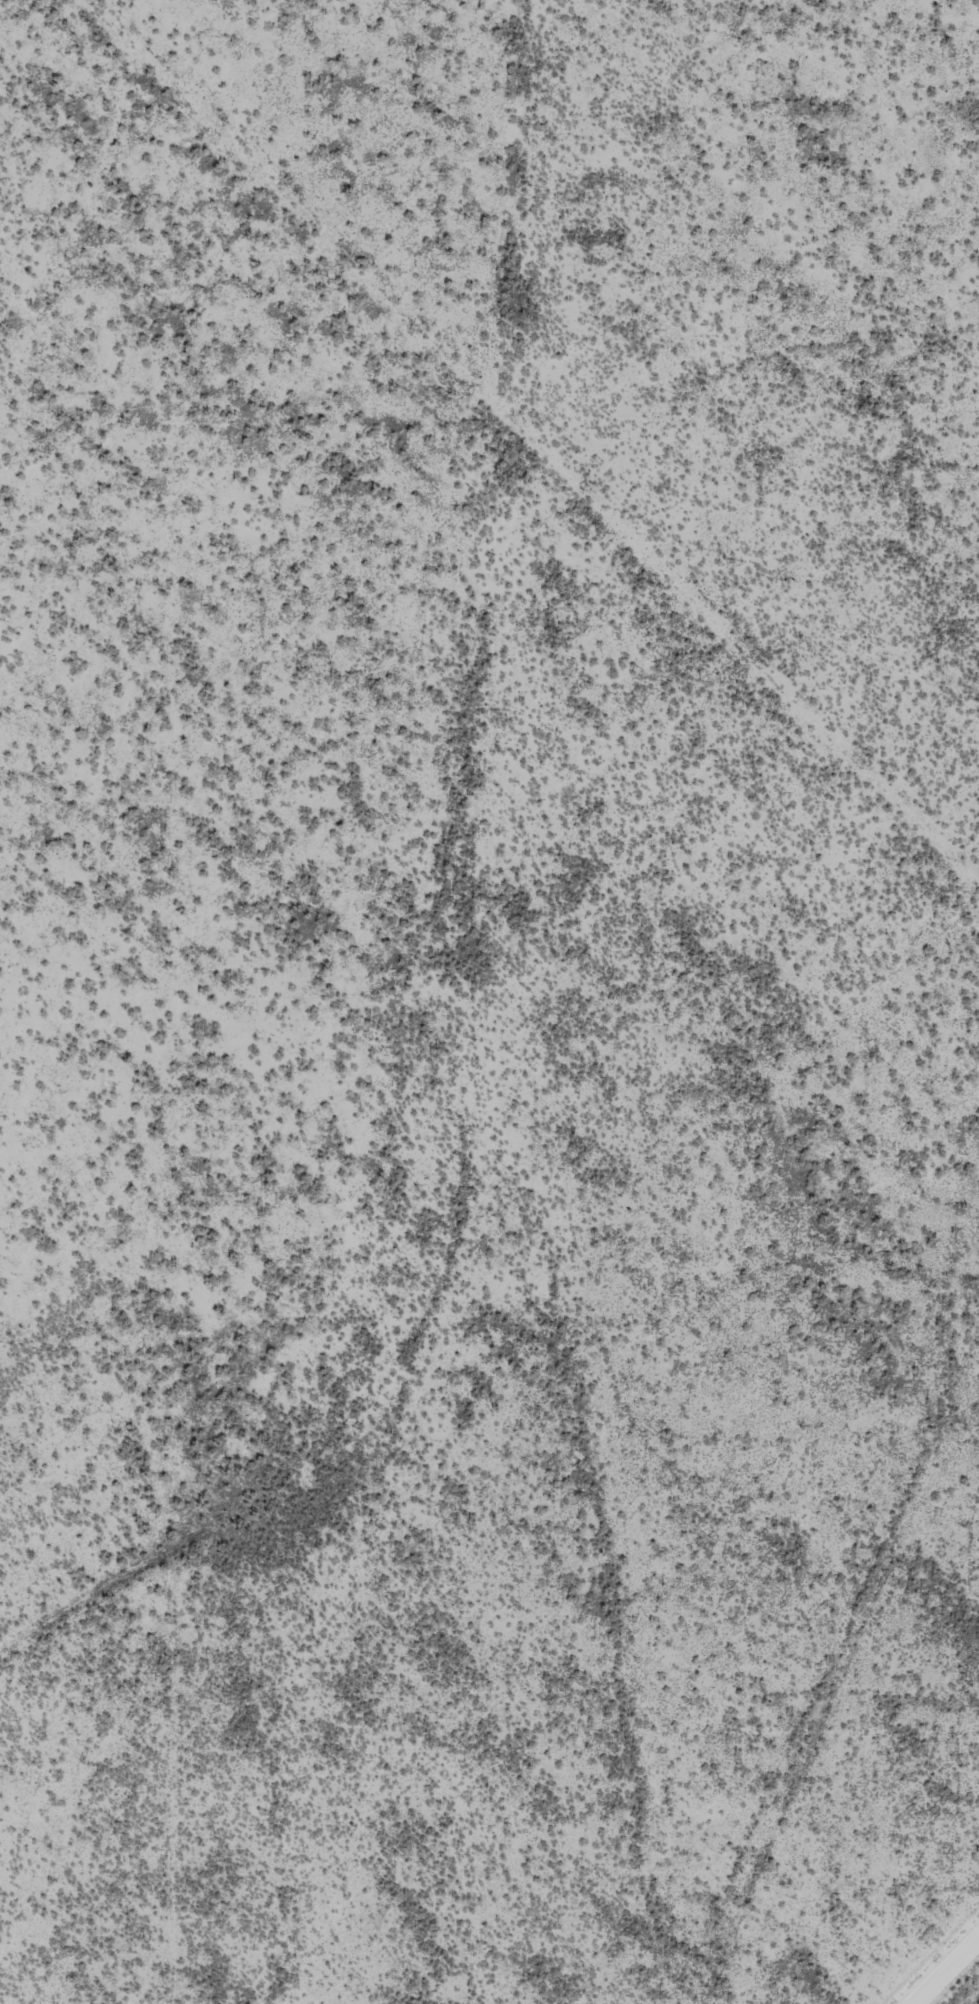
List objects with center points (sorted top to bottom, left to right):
road: (958, 1983)

